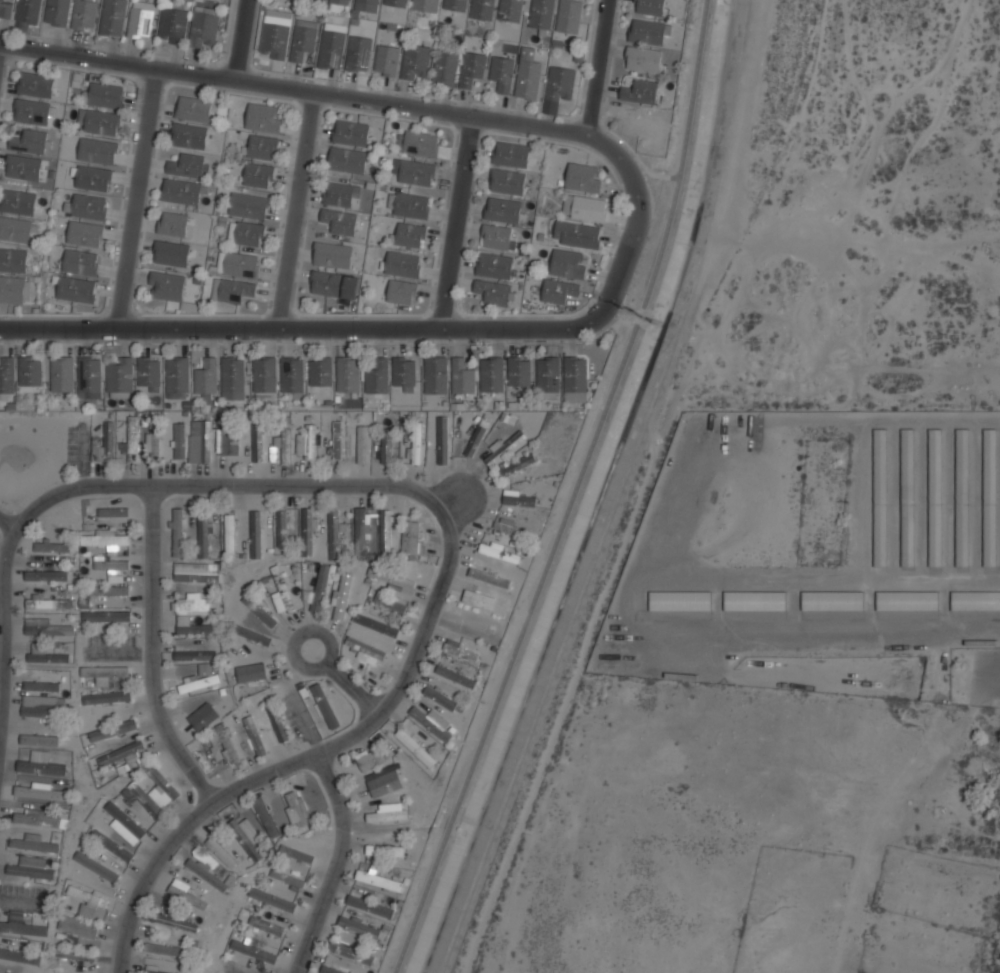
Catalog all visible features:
building: (340, 2)
building: (396, 3)
building: (366, 5)
building: (425, 5)
building: (455, 5)
building: (648, 6)
building: (6, 8)
building: (482, 9)
building: (510, 10)
building: (57, 12)
building: (27, 13)
building: (541, 14)
building: (84, 15)
building: (568, 16)
building: (113, 18)
building: (140, 21)
building: (173, 26)
building: (204, 31)
building: (647, 31)
building: (275, 34)
road: (241, 39)
building: (303, 39)
building: (332, 45)
building: (358, 53)
building: (642, 58)
building: (386, 60)
building: (416, 62)
building: (445, 67)
building: (472, 67)
road: (596, 67)
building: (502, 73)
building: (527, 76)
building: (560, 84)
building: (36, 85)
road: (293, 87)
building: (640, 91)
building: (105, 96)
building: (194, 109)
building: (33, 113)
building: (263, 117)
building: (99, 123)
building: (351, 133)
building: (190, 136)
building: (31, 141)
building: (421, 144)
building: (262, 146)
building: (97, 151)
building: (511, 153)
building: (346, 160)
building: (187, 165)
building: (23, 167)
building: (413, 171)
building: (257, 174)
building: (584, 177)
building: (93, 178)
building: (507, 181)
building: (181, 191)
building: (341, 193)
road: (136, 197)
building: (21, 202)
building: (408, 204)
building: (248, 205)
building: (90, 206)
building: (584, 207)
road: (297, 209)
building: (504, 210)
road: (638, 218)
road: (457, 220)
building: (340, 221)
building: (173, 223)
building: (18, 229)
building: (247, 233)
building: (85, 234)
building: (576, 234)
building: (408, 235)
building: (496, 237)
building: (171, 253)
building: (332, 254)
building: (14, 260)
building: (81, 262)
building: (568, 263)
building: (241, 264)
building: (402, 264)
building: (494, 265)
building: (333, 284)
building: (166, 285)
building: (76, 289)
building: (232, 289)
building: (13, 290)
building: (558, 290)
building: (401, 292)
building: (493, 292)
road: (619, 318)
road: (301, 327)
building: (320, 371)
building: (519, 371)
building: (30, 373)
building: (348, 373)
building: (403, 373)
building: (149, 374)
building: (436, 374)
building: (491, 374)
building: (547, 374)
building: (7, 375)
building: (292, 375)
building: (61, 376)
building: (377, 376)
building: (119, 377)
building: (462, 377)
building: (90, 378)
building: (206, 378)
building: (264, 378)
building: (575, 378)
building: (176, 379)
building: (232, 379)
building: (179, 435)
building: (203, 437)
building: (132, 439)
building: (443, 439)
building: (229, 440)
building: (337, 440)
building: (475, 440)
building: (357, 441)
building: (257, 442)
building: (308, 442)
building: (108, 443)
building: (155, 443)
building: (286, 444)
building: (416, 444)
building: (386, 447)
building: (503, 448)
building: (517, 465)
road: (223, 487)
road: (573, 493)
building: (880, 497)
building: (907, 497)
building: (935, 497)
building: (962, 497)
building: (989, 497)
building: (519, 500)
building: (113, 512)
road: (5, 523)
building: (507, 525)
building: (282, 529)
building: (177, 531)
building: (230, 531)
building: (360, 531)
building: (308, 532)
building: (334, 533)
building: (256, 534)
building: (385, 534)
building: (204, 536)
building: (412, 537)
building: (105, 539)
building: (52, 547)
building: (499, 552)
building: (112, 566)
building: (193, 572)
building: (46, 575)
building: (391, 577)
building: (489, 577)
building: (320, 588)
building: (108, 591)
building: (282, 591)
building: (342, 596)
building: (680, 600)
building: (907, 600)
building: (975, 600)
building: (754, 601)
building: (832, 601)
building: (389, 602)
building: (50, 603)
building: (481, 603)
building: (190, 605)
building: (260, 611)
building: (108, 616)
road: (3, 625)
building: (373, 625)
building: (47, 629)
building: (194, 629)
building: (251, 633)
building: (365, 647)
building: (460, 651)
building: (45, 654)
building: (195, 654)
road: (151, 656)
building: (253, 670)
building: (105, 671)
building: (455, 676)
building: (200, 679)
road: (348, 685)
building: (42, 686)
building: (106, 697)
building: (440, 697)
building: (325, 705)
building: (38, 708)
building: (89, 716)
building: (204, 716)
building: (430, 722)
building: (277, 724)
building: (113, 730)
building: (254, 733)
building: (40, 741)
building: (225, 742)
building: (416, 747)
building: (121, 753)
building: (370, 758)
road: (311, 761)
building: (41, 766)
building: (161, 780)
building: (383, 781)
building: (41, 793)
building: (145, 799)
building: (132, 807)
building: (295, 808)
building: (388, 812)
building: (37, 817)
building: (124, 819)
building: (246, 836)
building: (34, 844)
building: (112, 844)
building: (385, 850)
building: (222, 852)
building: (297, 853)
building: (96, 866)
road: (337, 866)
building: (30, 868)
building: (207, 875)
building: (288, 878)
building: (379, 880)
building: (187, 896)
building: (273, 900)
building: (88, 901)
building: (370, 905)
building: (176, 922)
building: (359, 924)
building: (79, 925)
building: (266, 926)
building: (23, 928)
building: (167, 949)
building: (257, 952)
building: (353, 954)
building: (19, 956)
building: (78, 956)
building: (331, 969)
building: (158, 970)

